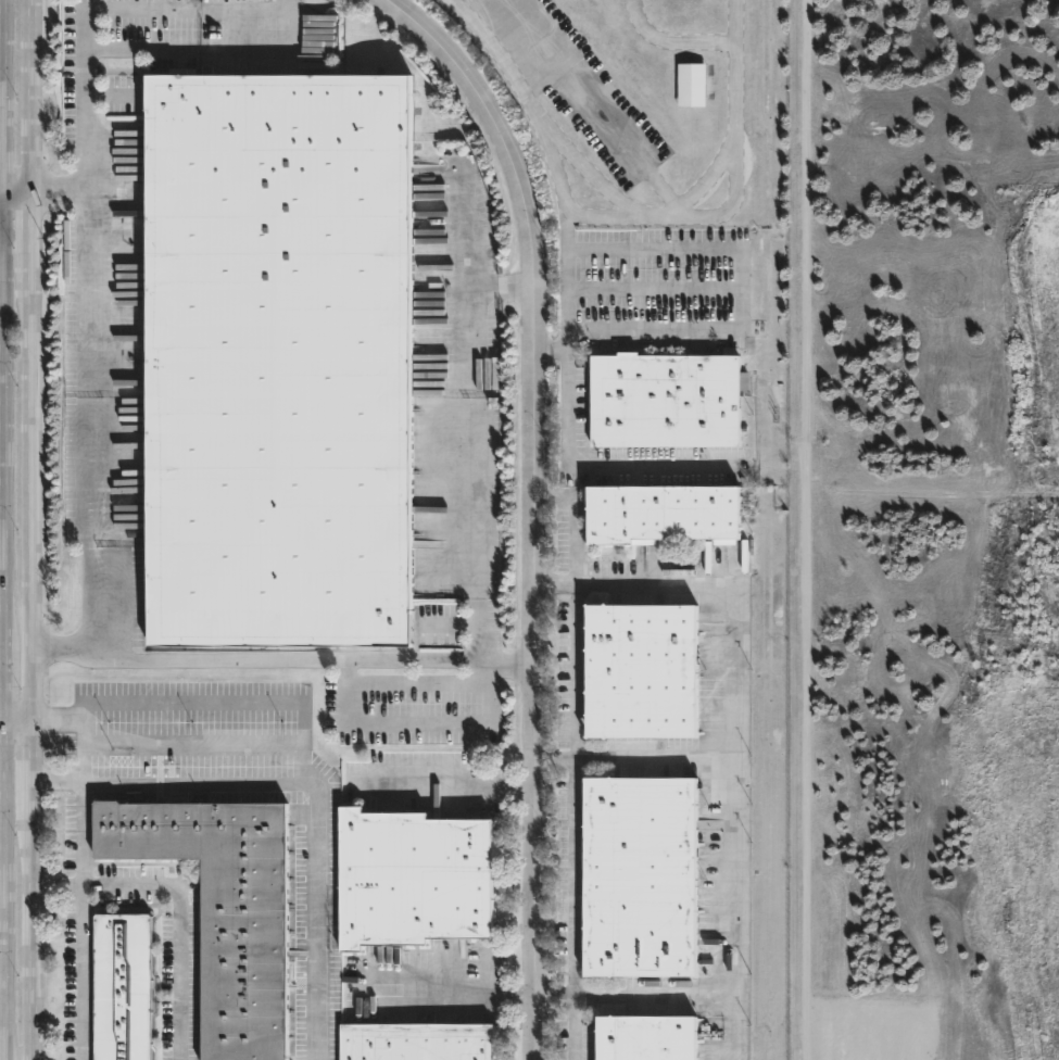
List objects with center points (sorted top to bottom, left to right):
road: (492, 18)
road: (84, 23)
road: (229, 50)
building: (691, 84)
road: (524, 98)
road: (5, 99)
road: (34, 99)
road: (584, 110)
road: (576, 160)
road: (703, 179)
road: (734, 188)
road: (3, 199)
road: (18, 199)
road: (567, 232)
road: (33, 239)
road: (604, 251)
road: (739, 306)
building: (274, 359)
building: (663, 400)
road: (8, 412)
road: (85, 416)
road: (477, 450)
road: (591, 466)
road: (33, 500)
road: (531, 505)
building: (660, 513)
road: (575, 514)
road: (3, 521)
airport: (928, 532)
road: (280, 660)
road: (573, 666)
road: (740, 669)
building: (639, 670)
road: (7, 672)
road: (307, 712)
road: (3, 719)
road: (18, 719)
road: (420, 724)
road: (29, 762)
road: (199, 777)
road: (56, 780)
road: (442, 781)
road: (572, 873)
road: (735, 875)
building: (640, 878)
building: (408, 880)
road: (5, 889)
building: (218, 910)
road: (179, 925)
road: (29, 933)
building: (119, 986)
road: (441, 989)
road: (665, 993)
road: (572, 1025)
building: (644, 1036)
building: (415, 1040)

